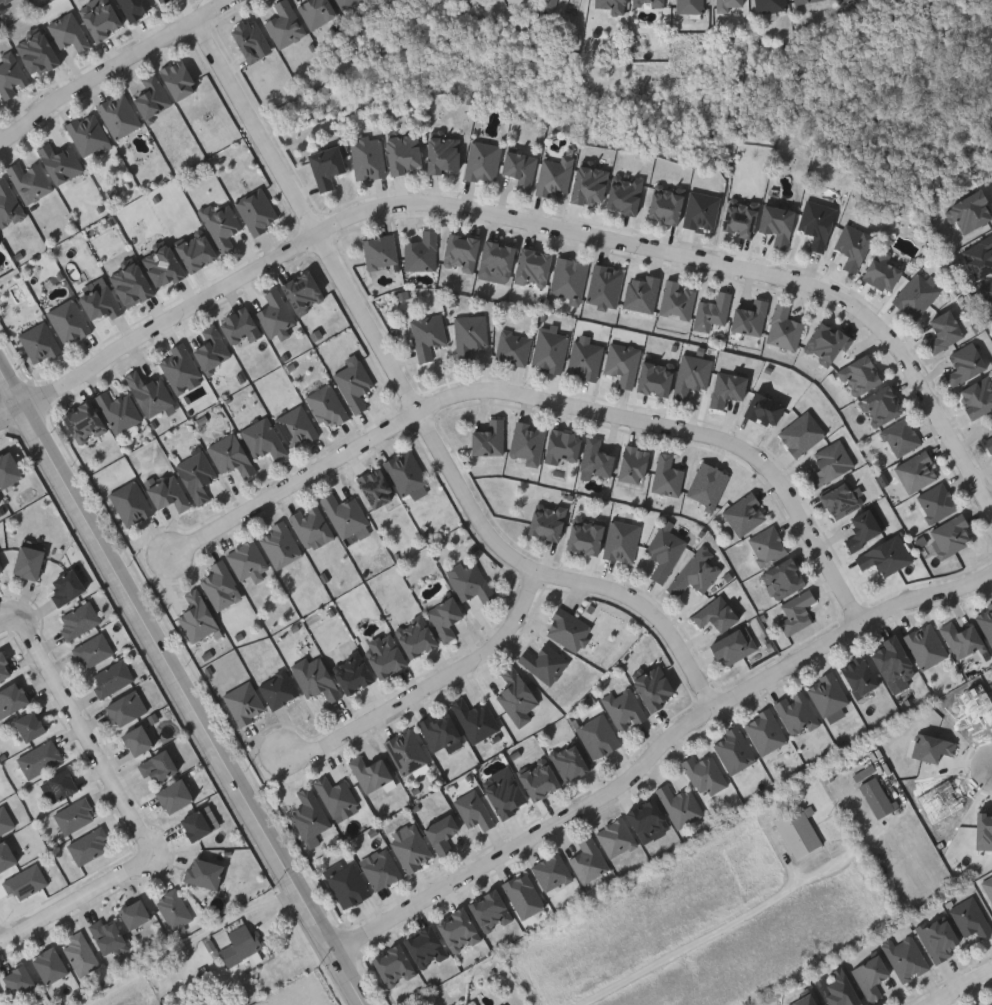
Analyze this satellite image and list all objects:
building: (165, 1)
building: (803, 1)
building: (845, 1)
building: (3, 2)
building: (346, 2)
building: (648, 2)
building: (613, 5)
building: (730, 5)
building: (771, 5)
building: (691, 6)
building: (137, 7)
building: (318, 11)
building: (102, 18)
building: (286, 24)
building: (70, 32)
building: (253, 40)
building: (39, 52)
road: (111, 66)
building: (12, 75)
building: (179, 78)
building: (154, 96)
building: (120, 114)
building: (89, 134)
building: (406, 153)
building: (446, 154)
building: (370, 157)
building: (484, 160)
building: (61, 161)
building: (328, 166)
building: (521, 169)
building: (556, 177)
building: (32, 181)
building: (590, 185)
building: (625, 196)
building: (9, 204)
building: (666, 205)
building: (258, 210)
building: (703, 210)
building: (972, 210)
building: (741, 218)
road: (528, 221)
building: (779, 223)
building: (818, 223)
building: (223, 225)
building: (0, 242)
building: (0, 245)
building: (854, 246)
building: (197, 251)
building: (382, 251)
building: (424, 252)
building: (463, 252)
building: (980, 256)
building: (499, 259)
building: (164, 265)
building: (535, 267)
building: (884, 271)
building: (571, 277)
building: (132, 284)
building: (607, 285)
building: (988, 290)
building: (303, 292)
building: (644, 293)
building: (918, 295)
building: (680, 300)
building: (102, 303)
building: (715, 311)
building: (277, 313)
building: (752, 318)
building: (71, 321)
building: (241, 325)
building: (786, 328)
building: (945, 330)
building: (429, 335)
building: (471, 335)
building: (40, 342)
building: (827, 343)
building: (515, 347)
building: (213, 348)
building: (552, 350)
building: (588, 357)
building: (625, 363)
building: (967, 363)
building: (182, 367)
building: (863, 373)
building: (694, 375)
building: (656, 378)
building: (356, 382)
building: (729, 389)
building: (151, 393)
building: (978, 396)
road: (544, 399)
building: (882, 405)
road: (417, 406)
building: (329, 407)
building: (765, 409)
building: (120, 411)
building: (991, 419)
building: (84, 422)
building: (990, 423)
building: (298, 427)
building: (803, 434)
building: (903, 437)
building: (490, 438)
building: (265, 439)
building: (529, 442)
building: (989, 443)
building: (563, 446)
building: (232, 455)
building: (597, 459)
building: (832, 463)
building: (635, 464)
building: (9, 467)
building: (918, 472)
building: (408, 473)
building: (198, 476)
building: (669, 476)
building: (709, 484)
building: (377, 488)
building: (170, 493)
building: (840, 500)
building: (938, 502)
building: (132, 503)
building: (746, 513)
building: (346, 514)
building: (548, 521)
building: (313, 526)
building: (865, 530)
building: (586, 535)
building: (954, 536)
building: (624, 541)
building: (281, 544)
building: (768, 545)
building: (666, 553)
building: (887, 556)
building: (249, 561)
building: (29, 564)
building: (698, 572)
building: (1, 573)
building: (785, 578)
building: (472, 581)
building: (223, 585)
building: (66, 588)
building: (798, 612)
building: (717, 614)
building: (198, 616)
building: (446, 618)
building: (80, 621)
building: (986, 621)
road: (9, 622)
building: (569, 629)
building: (417, 637)
building: (962, 638)
building: (735, 645)
building: (926, 645)
building: (93, 652)
building: (386, 656)
building: (893, 659)
building: (546, 663)
building: (4, 669)
building: (354, 673)
building: (860, 675)
building: (112, 679)
building: (318, 680)
road: (431, 684)
road: (183, 686)
building: (655, 687)
building: (280, 689)
building: (517, 694)
building: (829, 694)
building: (12, 700)
building: (246, 703)
building: (625, 707)
building: (126, 708)
building: (798, 713)
building: (477, 720)
building: (29, 727)
building: (441, 731)
building: (767, 731)
building: (600, 736)
road: (86, 737)
building: (137, 741)
building: (735, 749)
road: (658, 750)
building: (408, 751)
building: (40, 760)
building: (570, 762)
building: (158, 766)
building: (372, 772)
building: (707, 774)
building: (540, 779)
building: (59, 787)
building: (507, 795)
building: (174, 796)
building: (338, 796)
building: (877, 800)
building: (681, 805)
building: (475, 810)
building: (311, 816)
building: (76, 817)
building: (649, 820)
building: (6, 821)
building: (195, 826)
building: (443, 833)
building: (799, 835)
building: (617, 837)
building: (90, 847)
building: (413, 849)
building: (6, 857)
building: (590, 859)
building: (382, 868)
building: (204, 872)
building: (554, 872)
building: (27, 884)
building: (350, 885)
building: (988, 887)
building: (525, 895)
road: (77, 900)
building: (176, 909)
building: (492, 911)
building: (135, 912)
building: (970, 917)
road: (725, 925)
building: (459, 930)
building: (108, 933)
building: (937, 938)
road: (190, 942)
road: (0, 943)
building: (240, 943)
building: (426, 947)
building: (82, 952)
building: (905, 958)
building: (50, 963)
building: (394, 965)
building: (870, 976)
building: (20, 978)
road: (958, 985)
building: (840, 989)
building: (2, 999)
building: (805, 1000)
building: (472, 1002)
building: (991, 1004)

